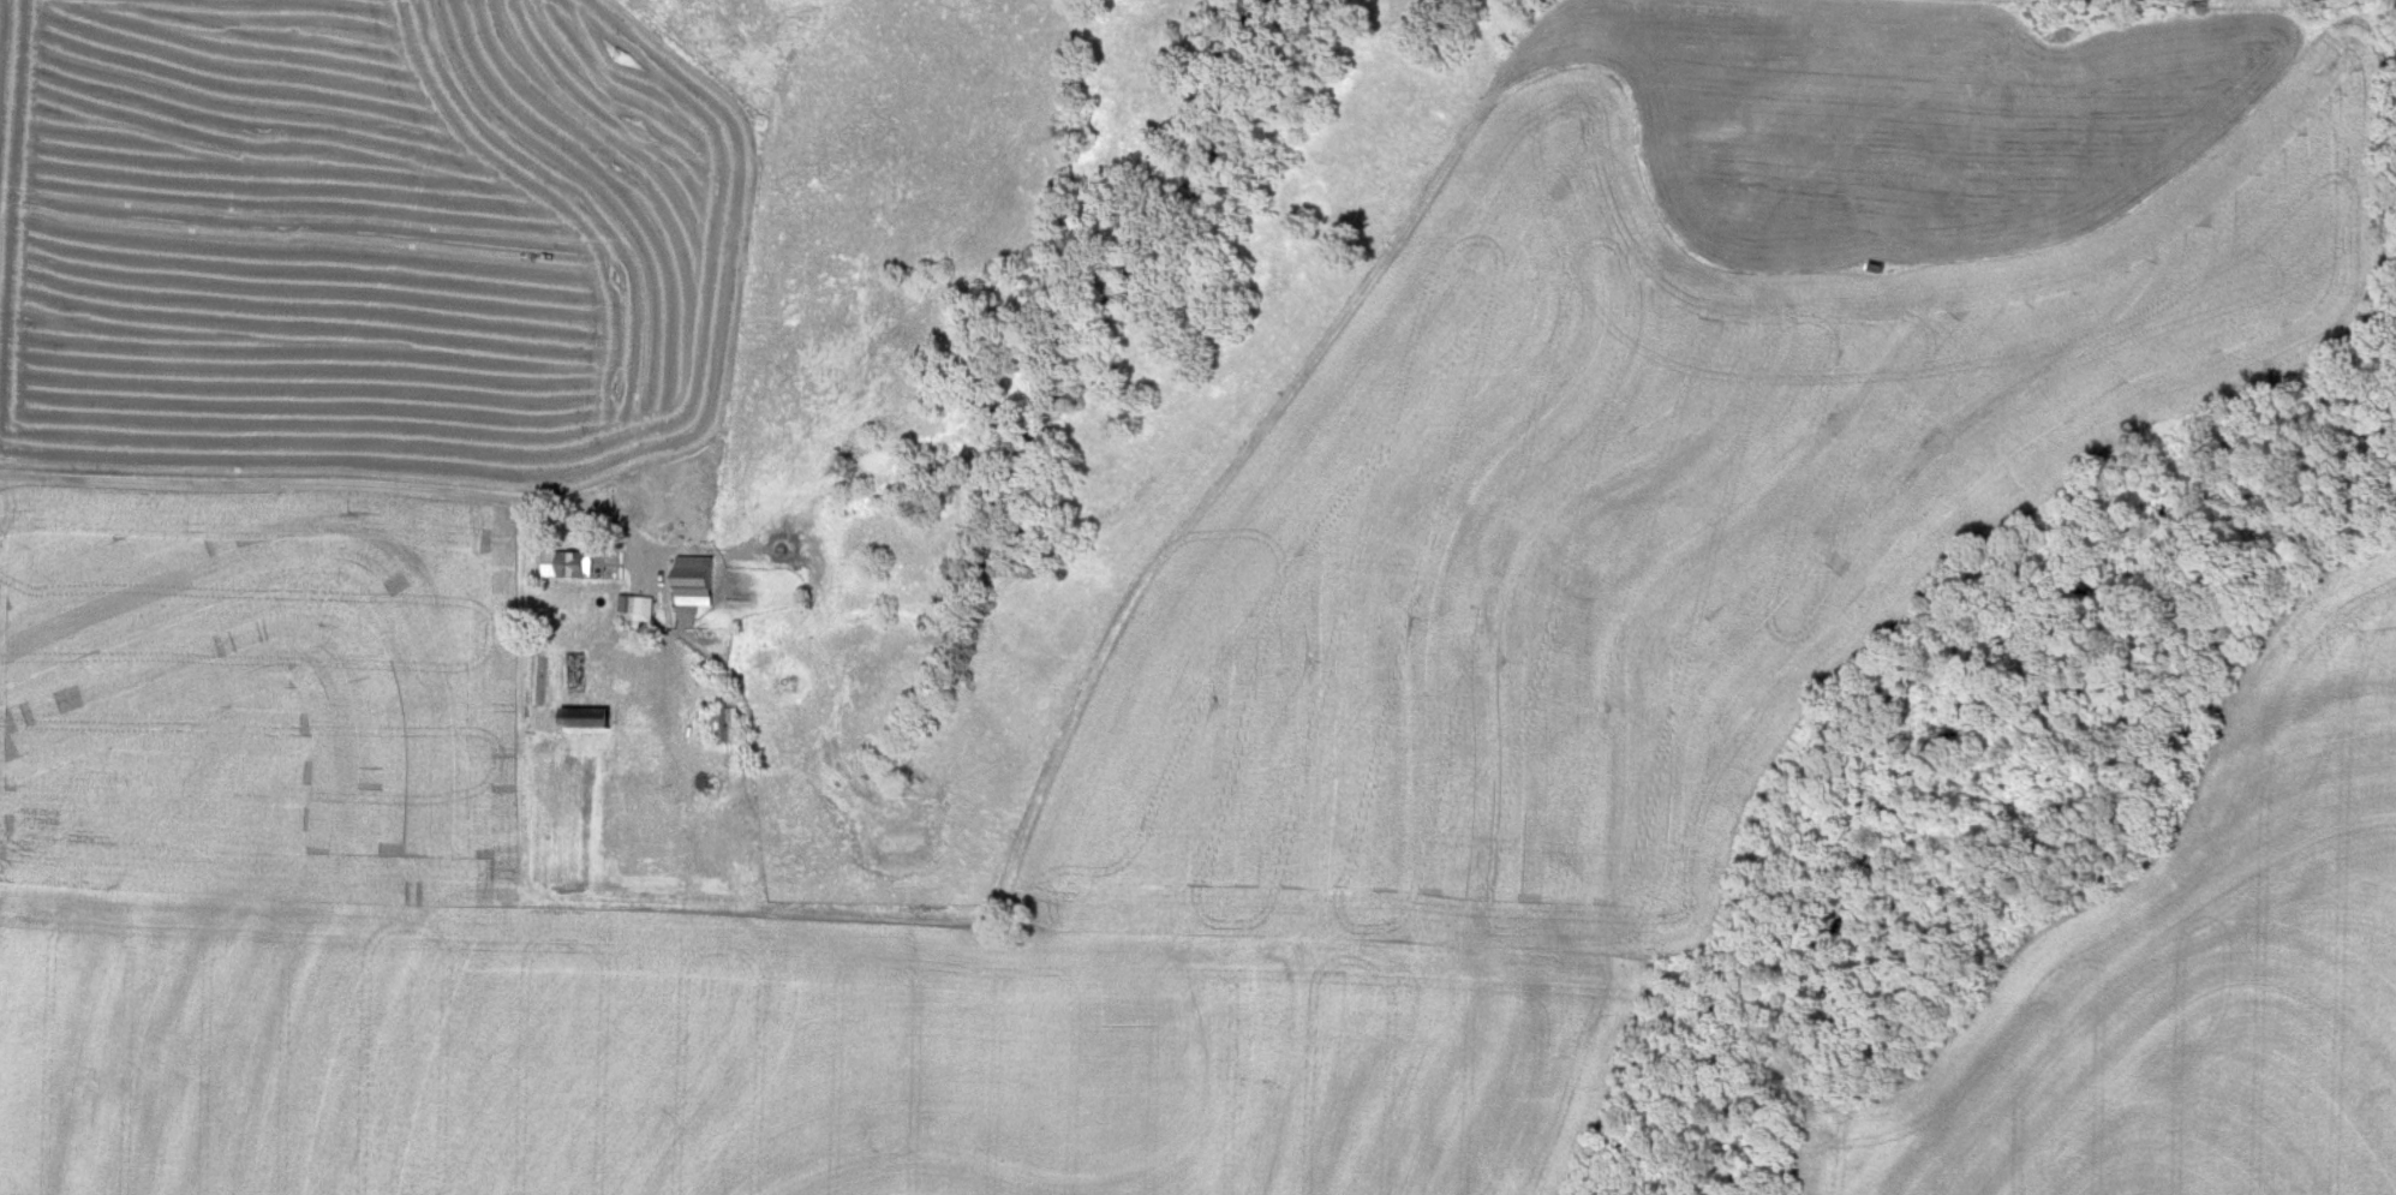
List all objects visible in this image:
road: (297, 484)
building: (562, 564)
building: (687, 581)
building: (631, 608)
building: (719, 724)

